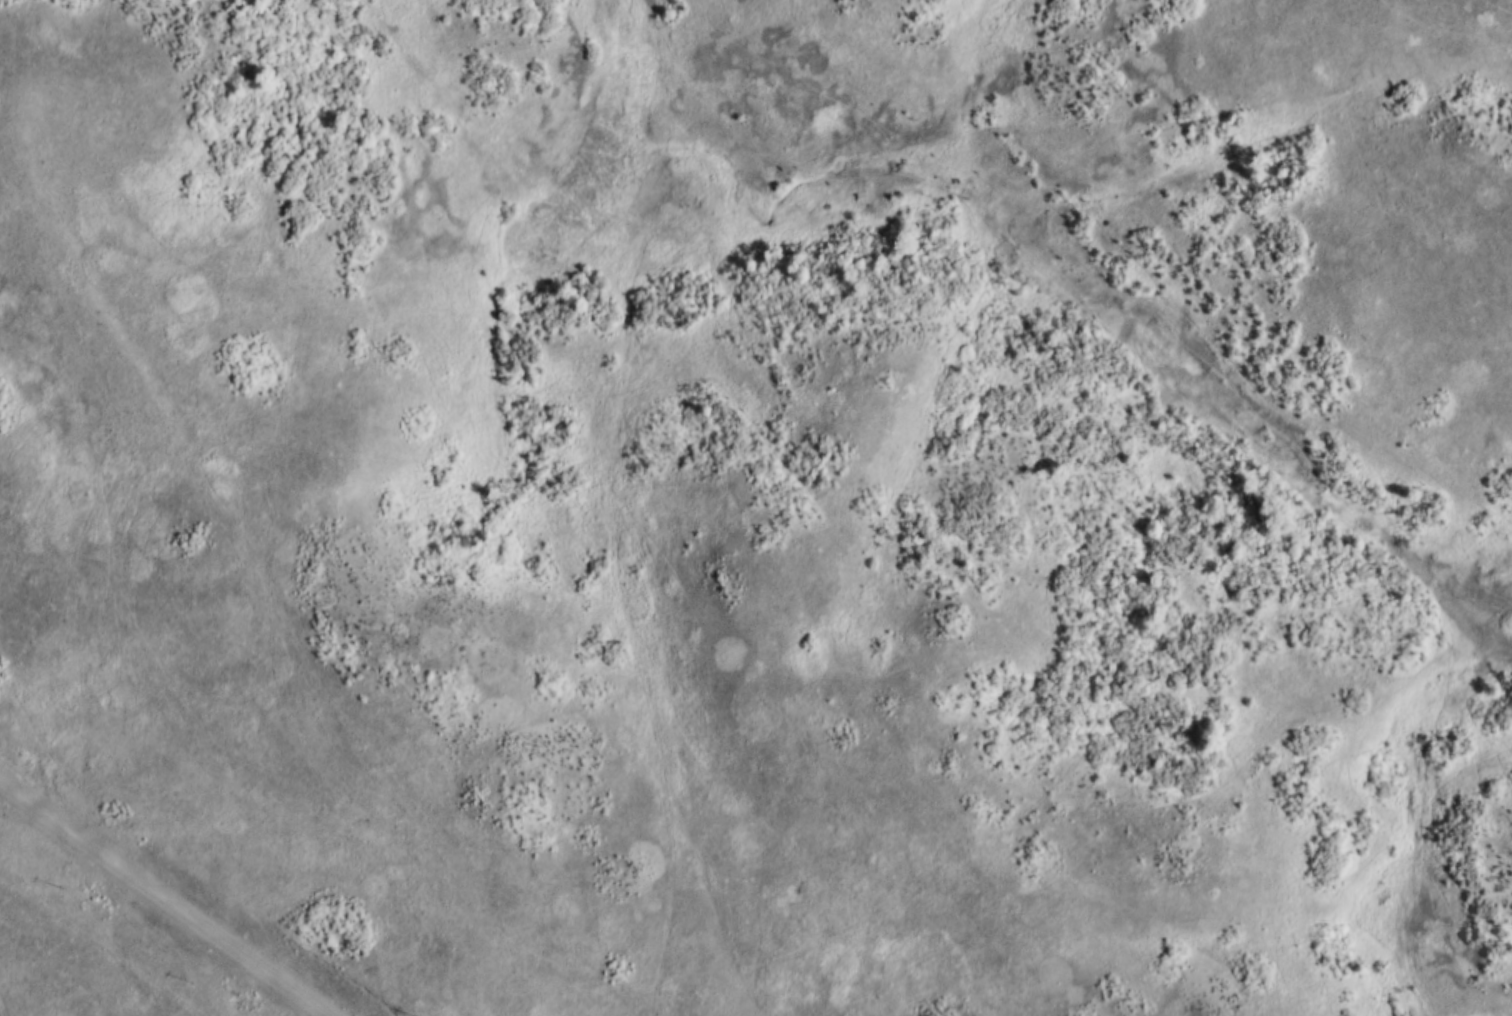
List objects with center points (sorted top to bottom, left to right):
road: (164, 901)

